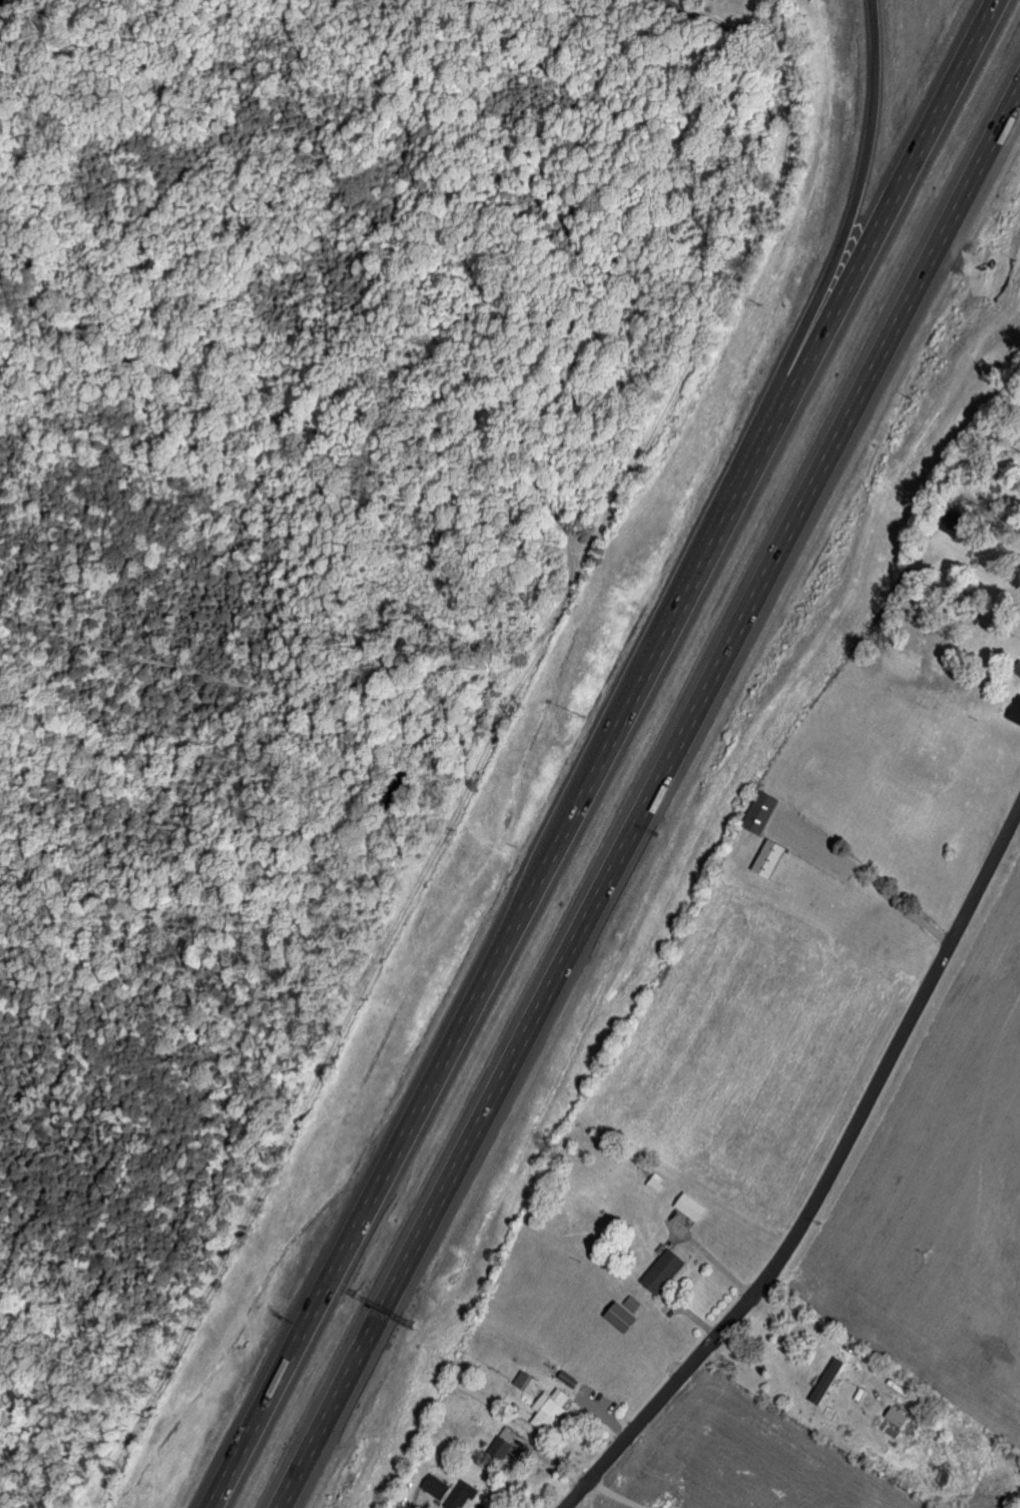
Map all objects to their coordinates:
road: (720, 25)
road: (31, 44)
road: (850, 206)
road: (12, 271)
road: (305, 294)
road: (618, 396)
road: (23, 513)
road: (270, 657)
building: (1016, 711)
road: (601, 753)
road: (648, 796)
building: (765, 812)
road: (103, 813)
building: (773, 858)
road: (873, 884)
road: (145, 971)
road: (825, 1179)
road: (712, 1258)
building: (666, 1271)
building: (629, 1314)
road: (833, 1335)
building: (830, 1379)
building: (552, 1408)
building: (900, 1416)
building: (505, 1441)
building: (437, 1486)
building: (463, 1495)
road: (610, 1495)

